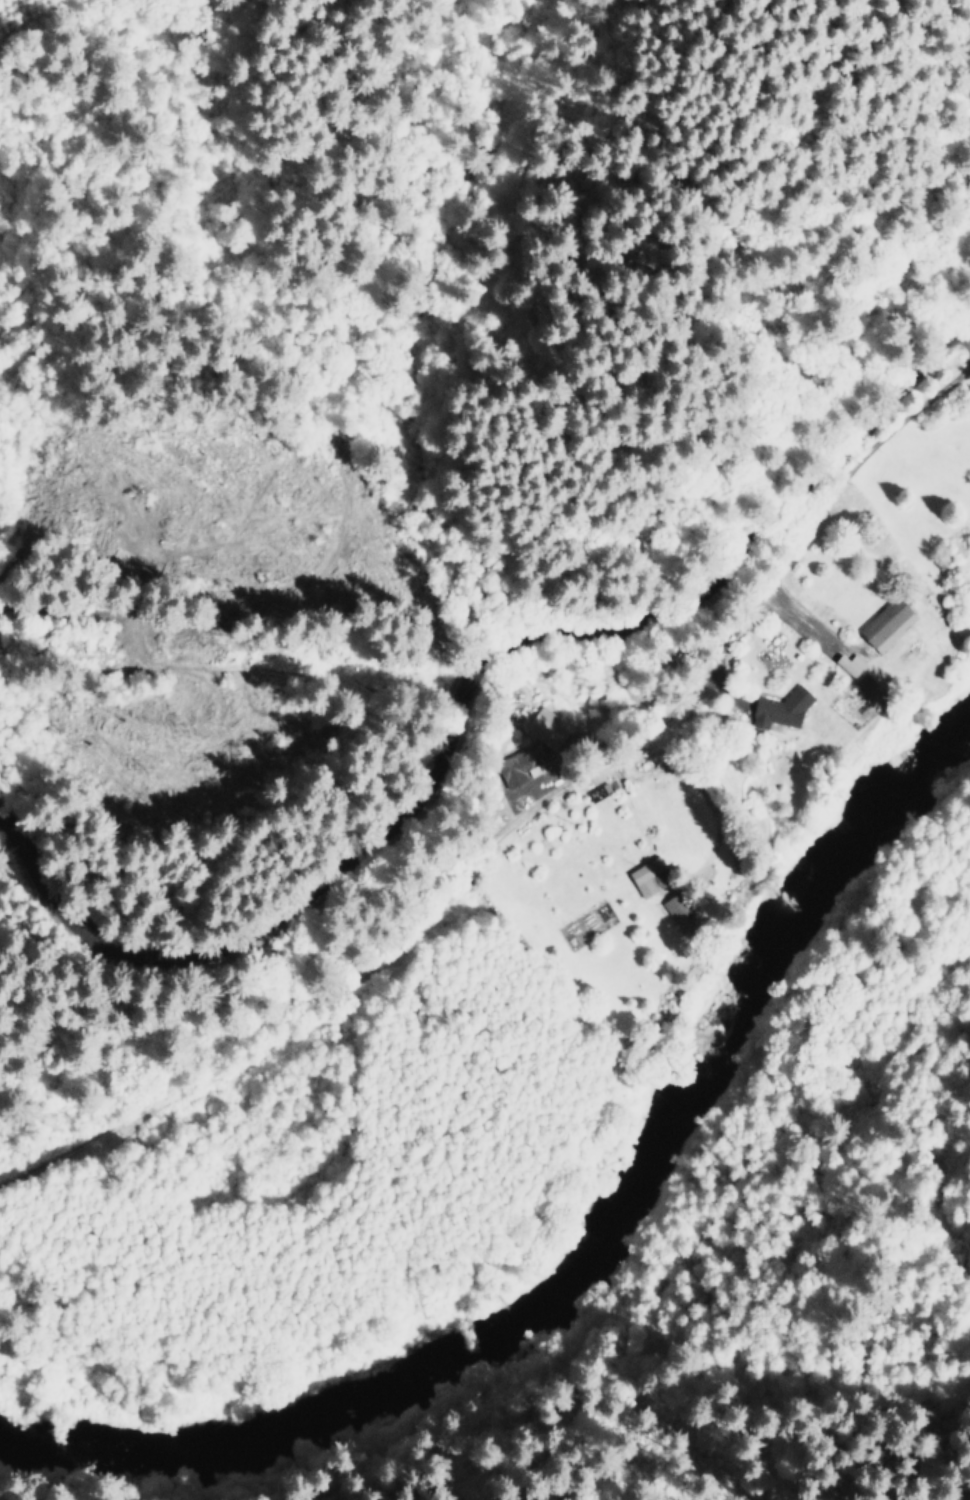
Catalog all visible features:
building: (884, 625)
building: (847, 665)
road: (463, 683)
building: (777, 710)
building: (545, 729)
building: (518, 765)
building: (643, 876)
building: (674, 909)
river: (590, 1246)

